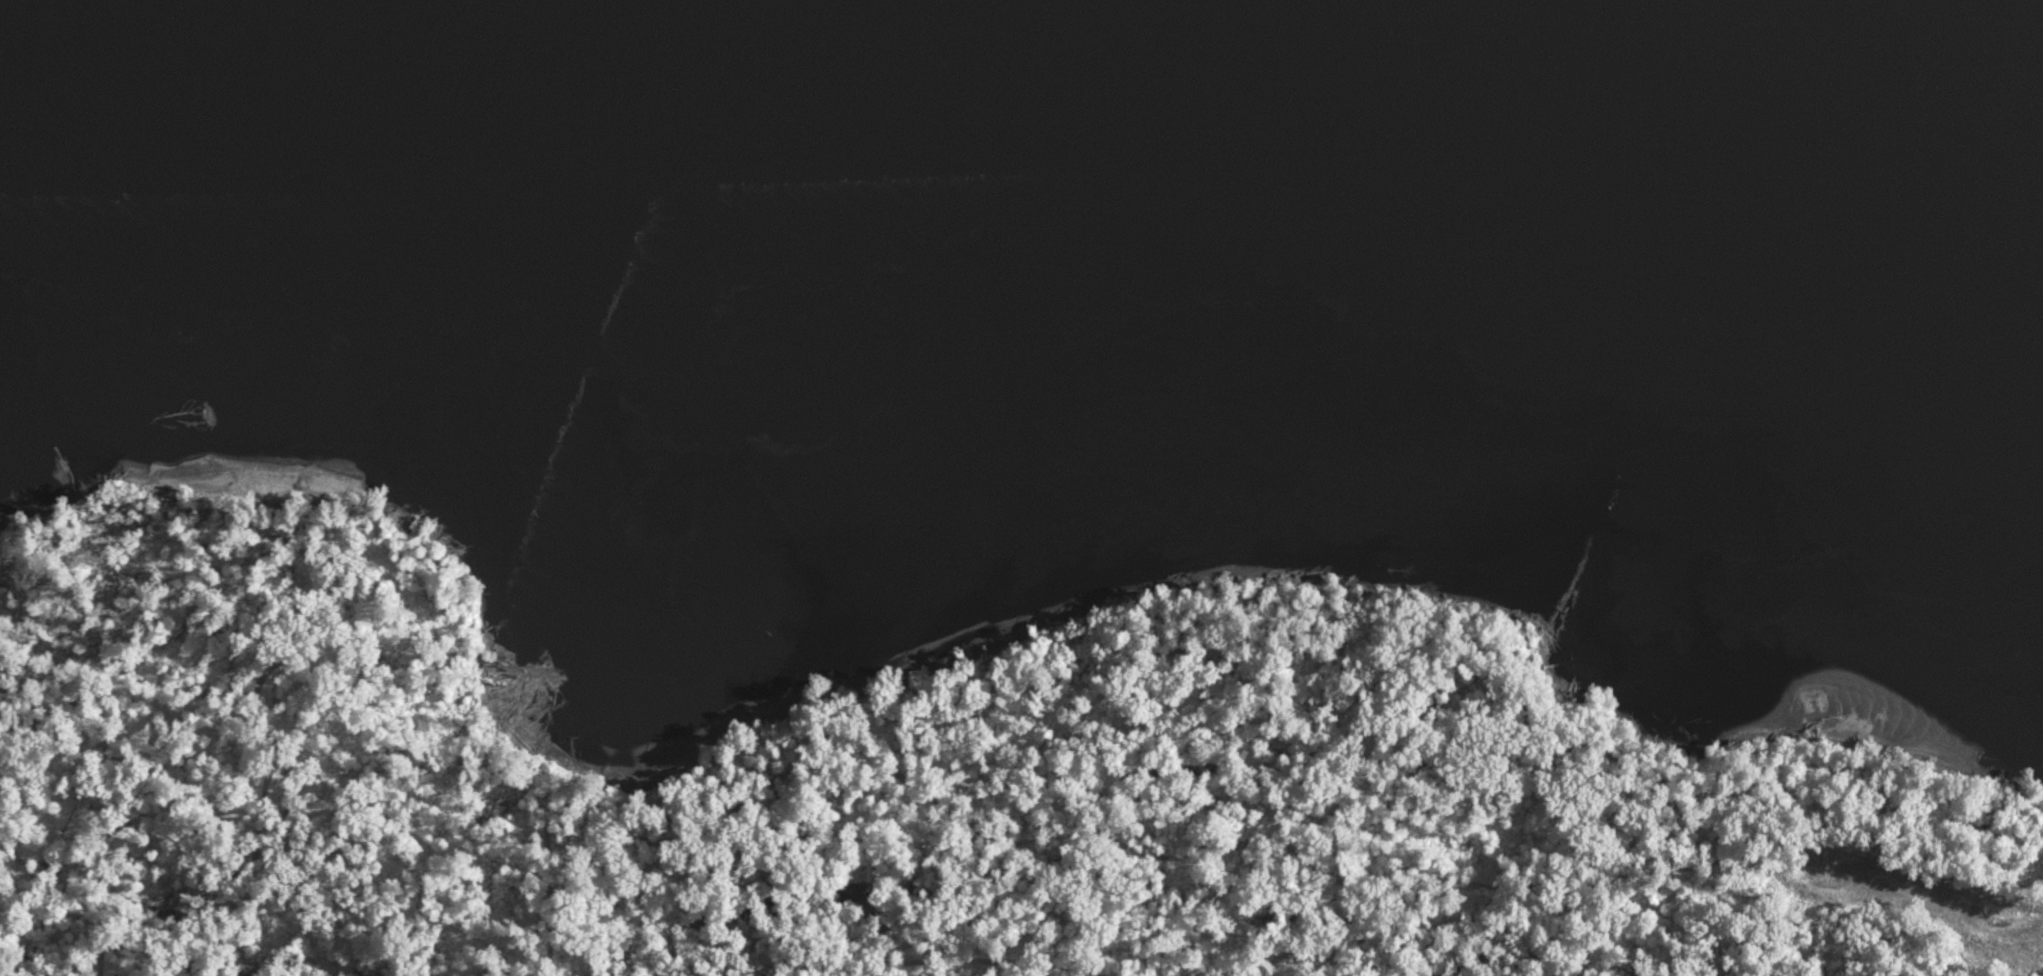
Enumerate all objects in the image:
river: (1038, 152)

